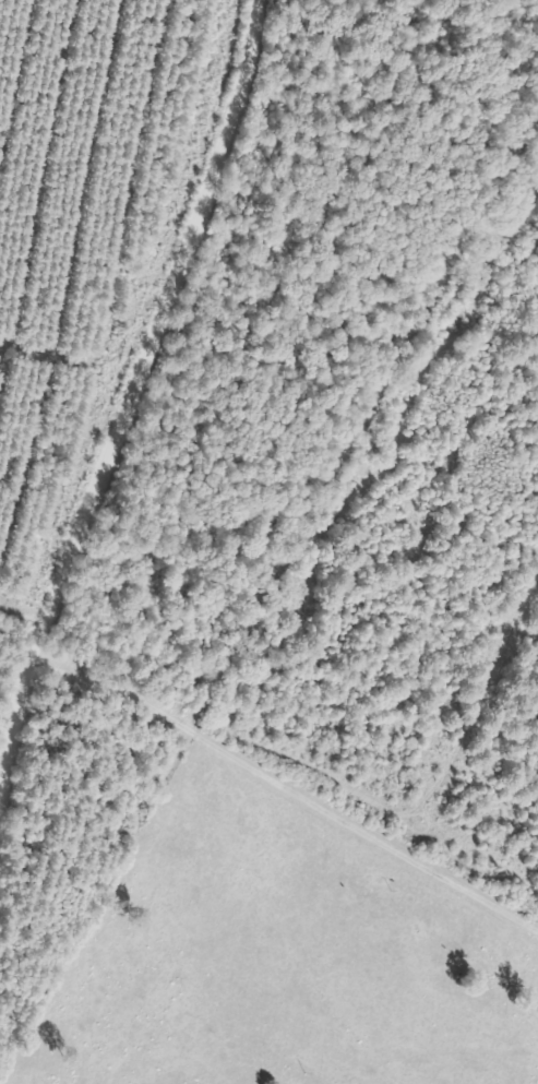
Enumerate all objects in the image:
road: (141, 409)

